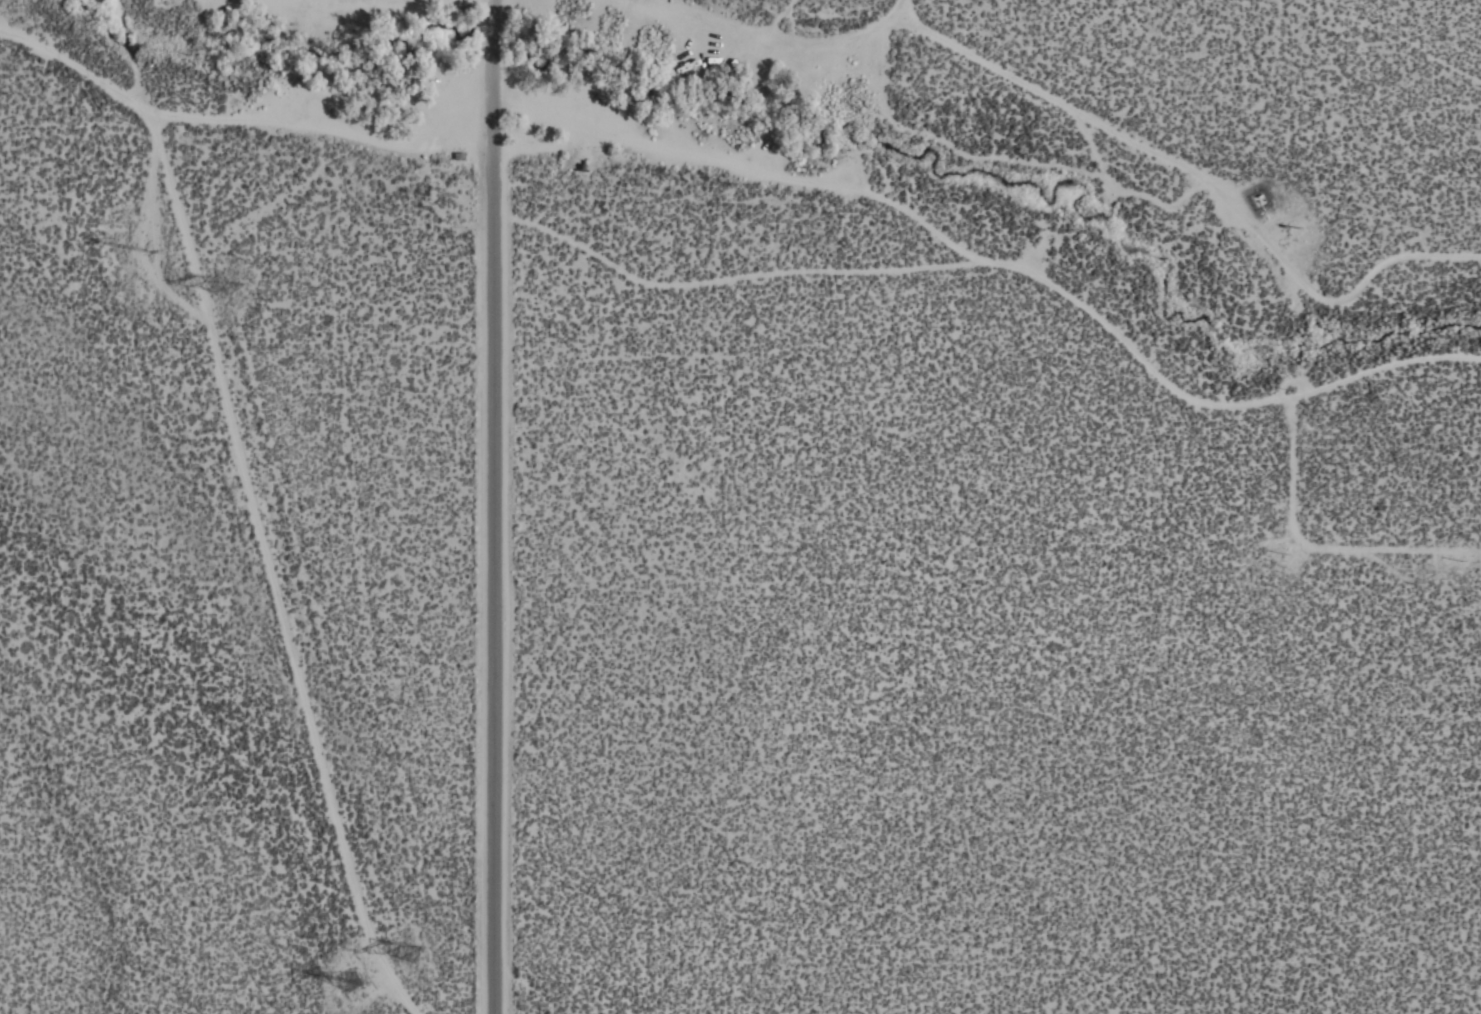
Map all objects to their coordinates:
road: (353, 1)
road: (1068, 105)
road: (237, 113)
building: (456, 153)
road: (740, 165)
power tower: (150, 238)
road: (1007, 261)
power tower: (225, 270)
road: (492, 506)
road: (273, 569)
power tower: (402, 946)
power tower: (341, 976)

